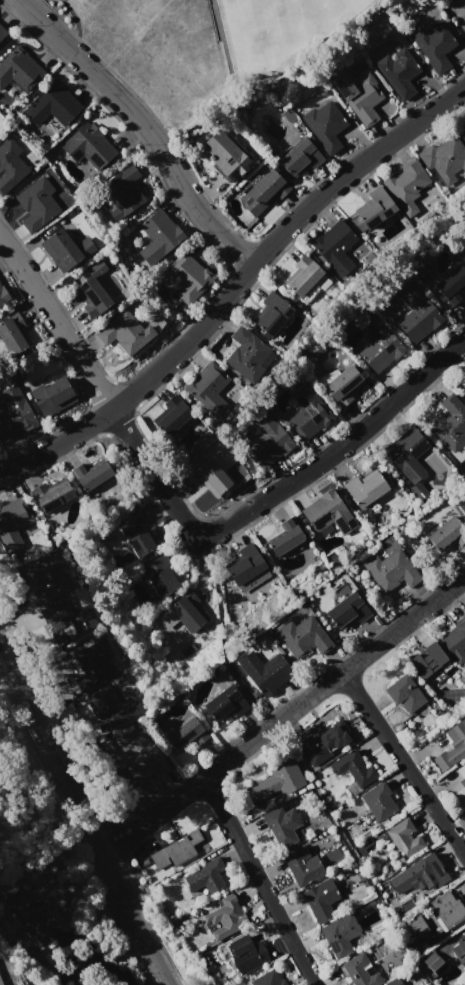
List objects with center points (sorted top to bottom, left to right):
building: (463, 26)
park: (271, 31)
building: (2, 32)
building: (435, 46)
park: (206, 50)
building: (18, 69)
building: (400, 72)
building: (359, 96)
building: (52, 106)
building: (325, 126)
road: (143, 128)
building: (462, 133)
building: (88, 146)
building: (224, 153)
building: (300, 156)
building: (445, 159)
building: (10, 165)
building: (406, 185)
building: (122, 192)
building: (264, 192)
building: (37, 205)
building: (373, 209)
building: (159, 236)
building: (335, 247)
building: (65, 249)
building: (303, 276)
building: (188, 277)
building: (452, 285)
road: (238, 287)
building: (93, 291)
building: (3, 296)
building: (271, 314)
building: (417, 315)
building: (125, 332)
building: (12, 333)
building: (378, 345)
building: (248, 355)
building: (344, 386)
building: (464, 386)
road: (100, 389)
building: (208, 389)
building: (51, 397)
building: (464, 398)
building: (308, 413)
building: (14, 414)
building: (171, 416)
building: (450, 423)
building: (267, 439)
road: (338, 448)
building: (407, 454)
building: (91, 476)
building: (209, 477)
building: (365, 489)
building: (418, 492)
building: (52, 494)
building: (327, 513)
building: (13, 523)
building: (137, 534)
building: (445, 534)
building: (286, 537)
building: (245, 568)
building: (392, 571)
building: (161, 573)
building: (47, 578)
building: (187, 611)
building: (346, 611)
building: (64, 620)
building: (303, 637)
building: (455, 642)
building: (426, 661)
building: (93, 665)
building: (265, 672)
building: (404, 693)
building: (224, 704)
building: (114, 706)
road: (285, 719)
building: (183, 733)
building: (324, 742)
building: (452, 747)
road: (405, 763)
building: (145, 765)
building: (353, 768)
building: (276, 782)
building: (461, 785)
building: (378, 801)
road: (85, 820)
building: (281, 826)
building: (404, 837)
building: (180, 851)
building: (302, 865)
building: (418, 874)
building: (206, 877)
road: (260, 882)
building: (320, 900)
building: (446, 909)
building: (31, 917)
building: (226, 918)
building: (418, 926)
building: (339, 935)
building: (459, 953)
road: (90, 954)
building: (248, 957)
building: (431, 961)
building: (359, 970)
building: (268, 979)
building: (0, 982)

